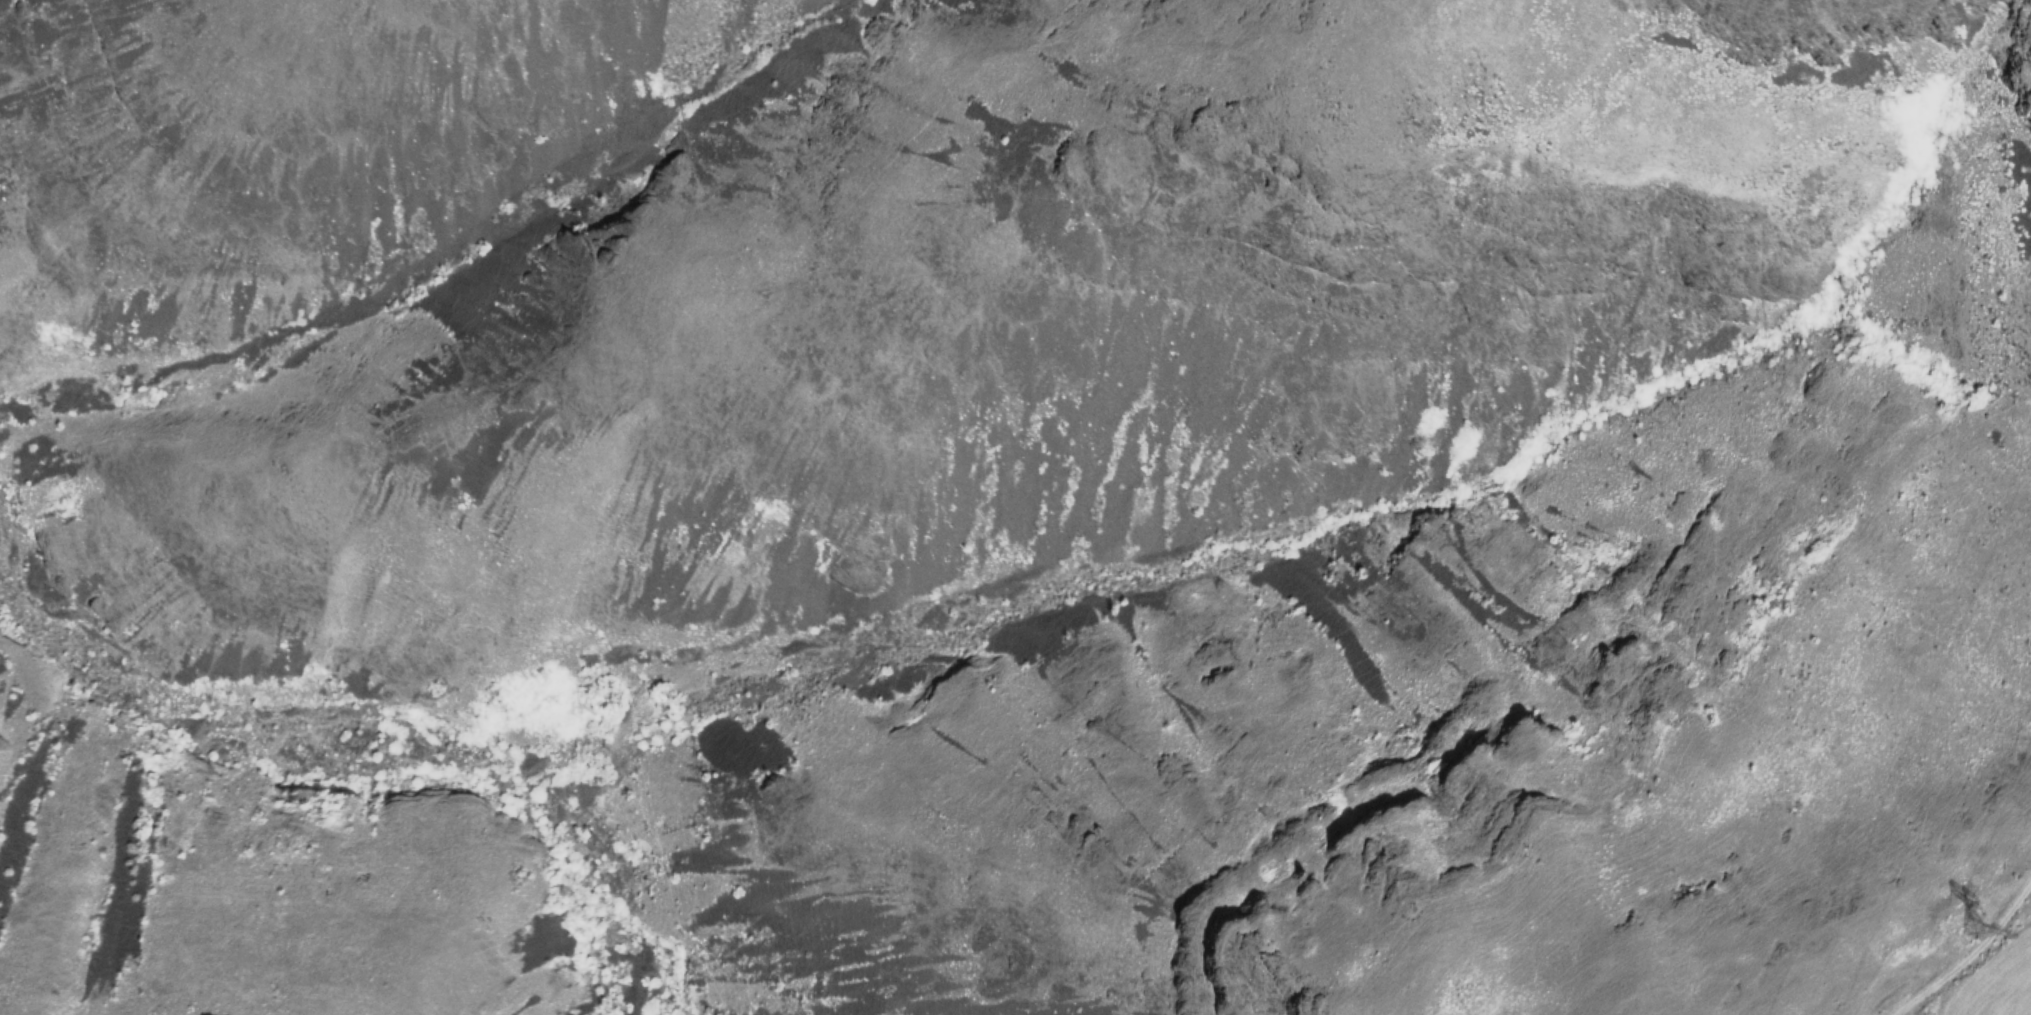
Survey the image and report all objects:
power tower: (1987, 909)

